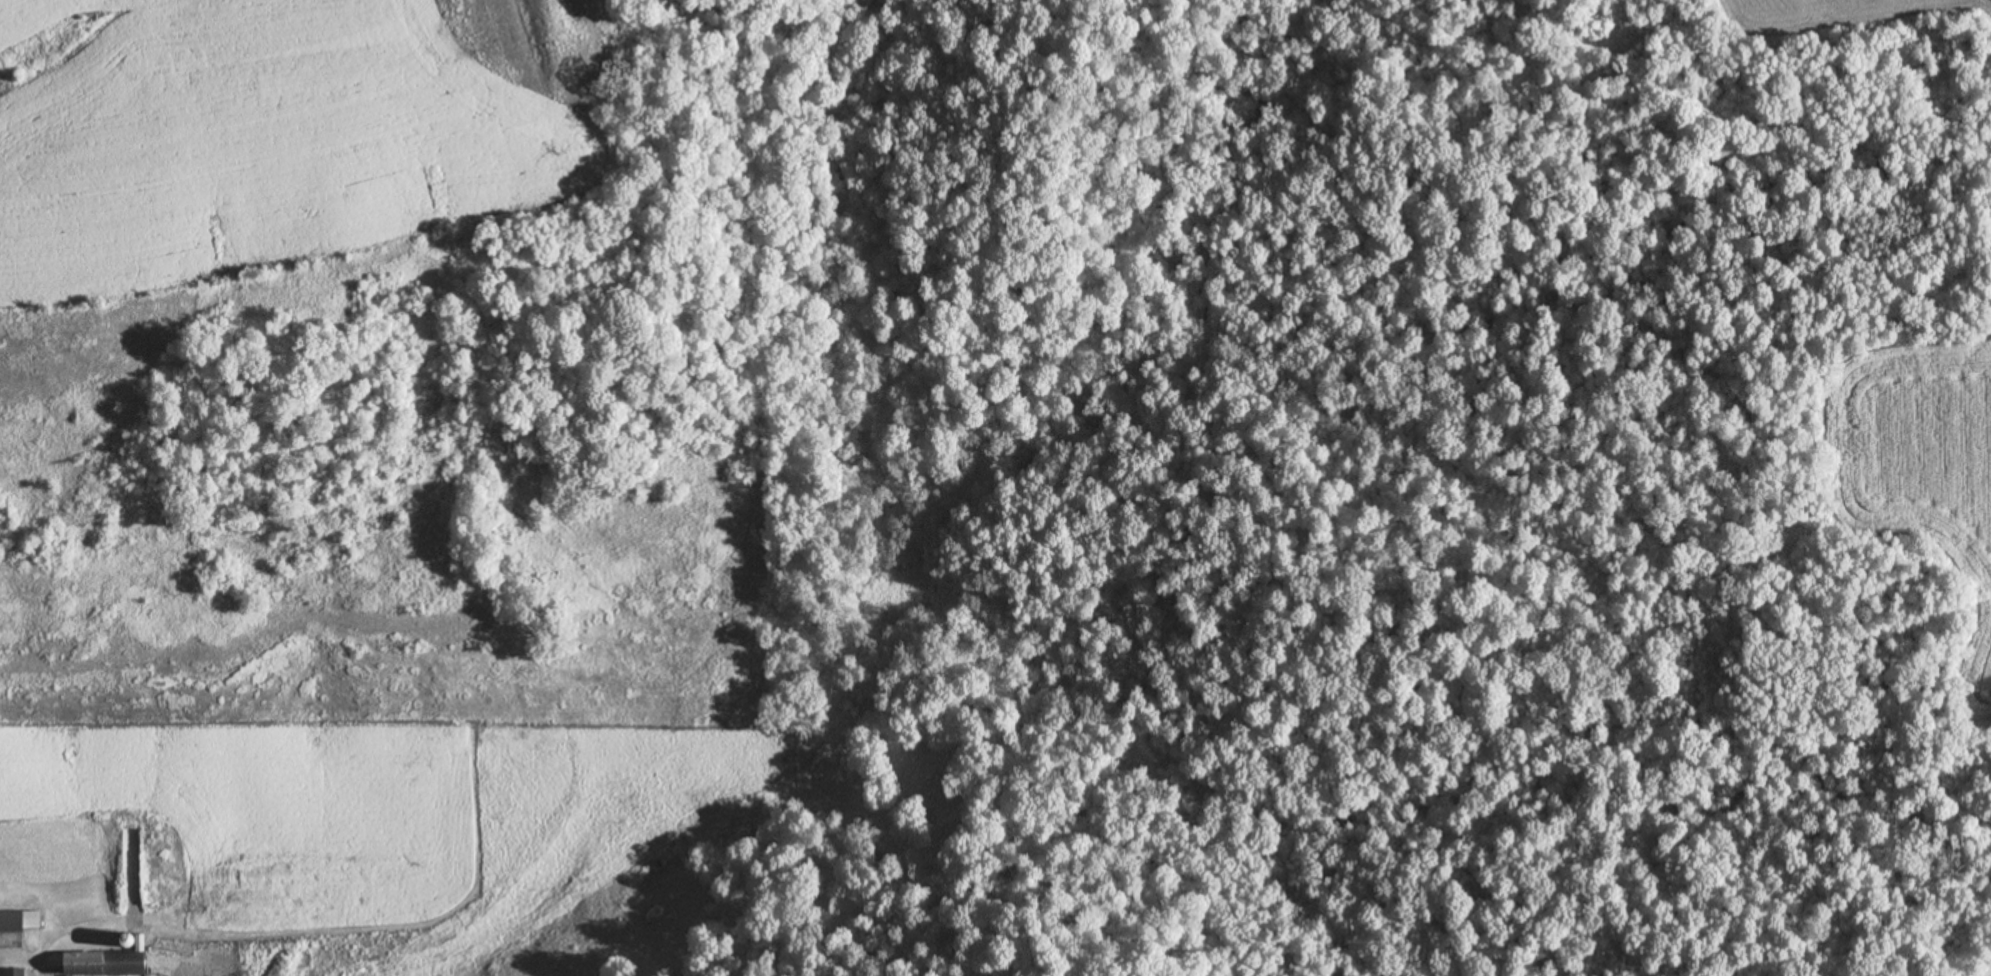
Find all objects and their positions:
building: (22, 921)
building: (110, 963)
building: (13, 971)

